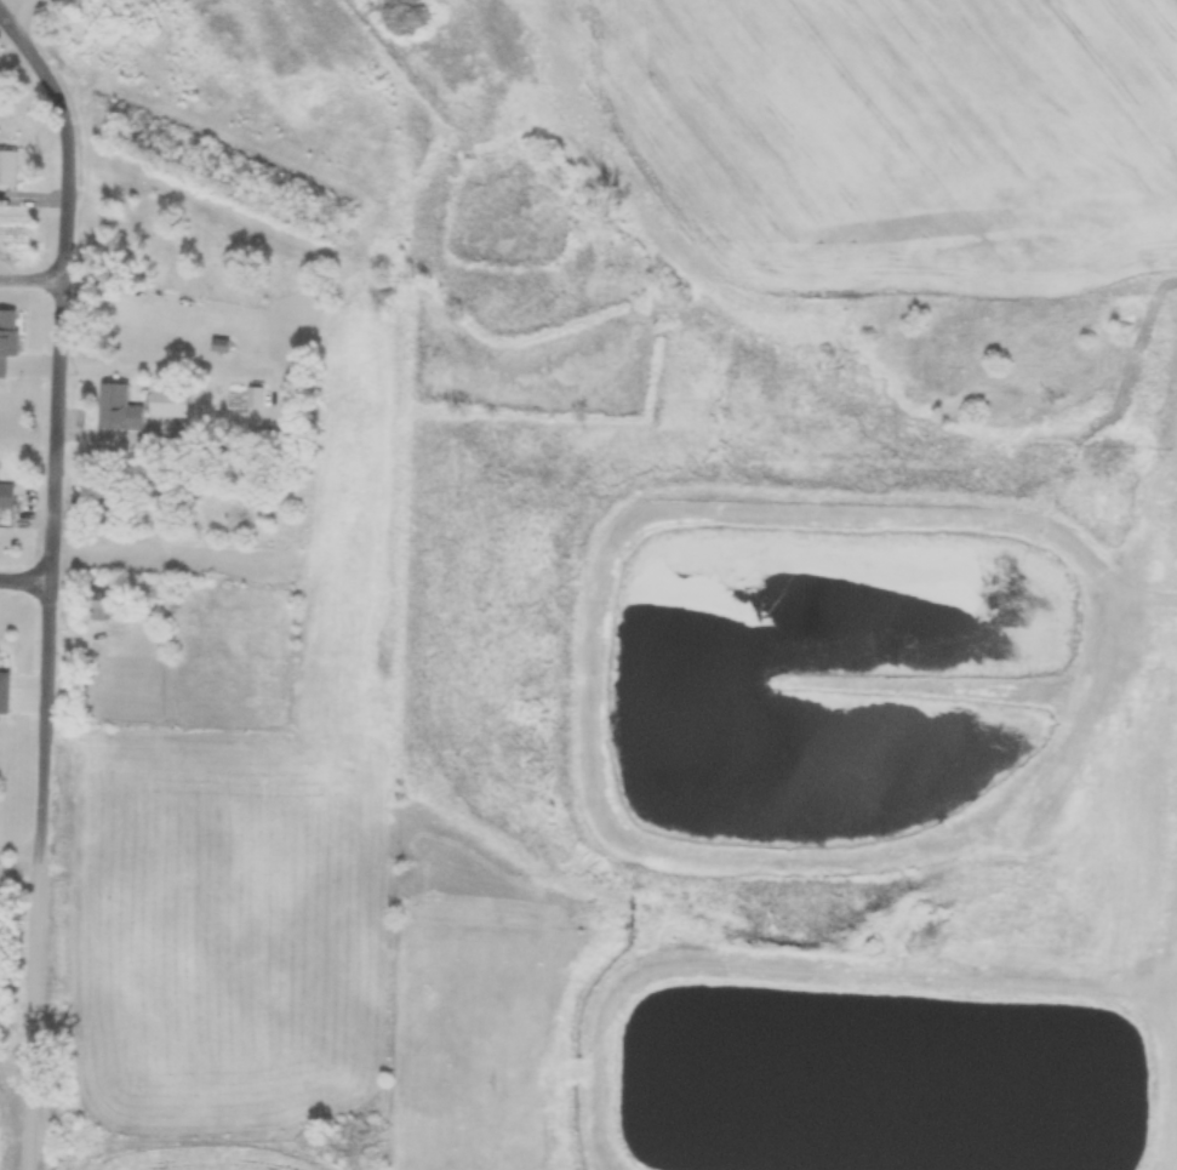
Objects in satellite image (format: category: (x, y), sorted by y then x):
road: (18, 12)
road: (65, 143)
building: (8, 170)
road: (30, 285)
building: (7, 338)
building: (170, 404)
building: (118, 410)
building: (6, 498)
road: (48, 572)
road: (24, 584)
building: (98, 609)
building: (4, 694)
road: (34, 1015)

